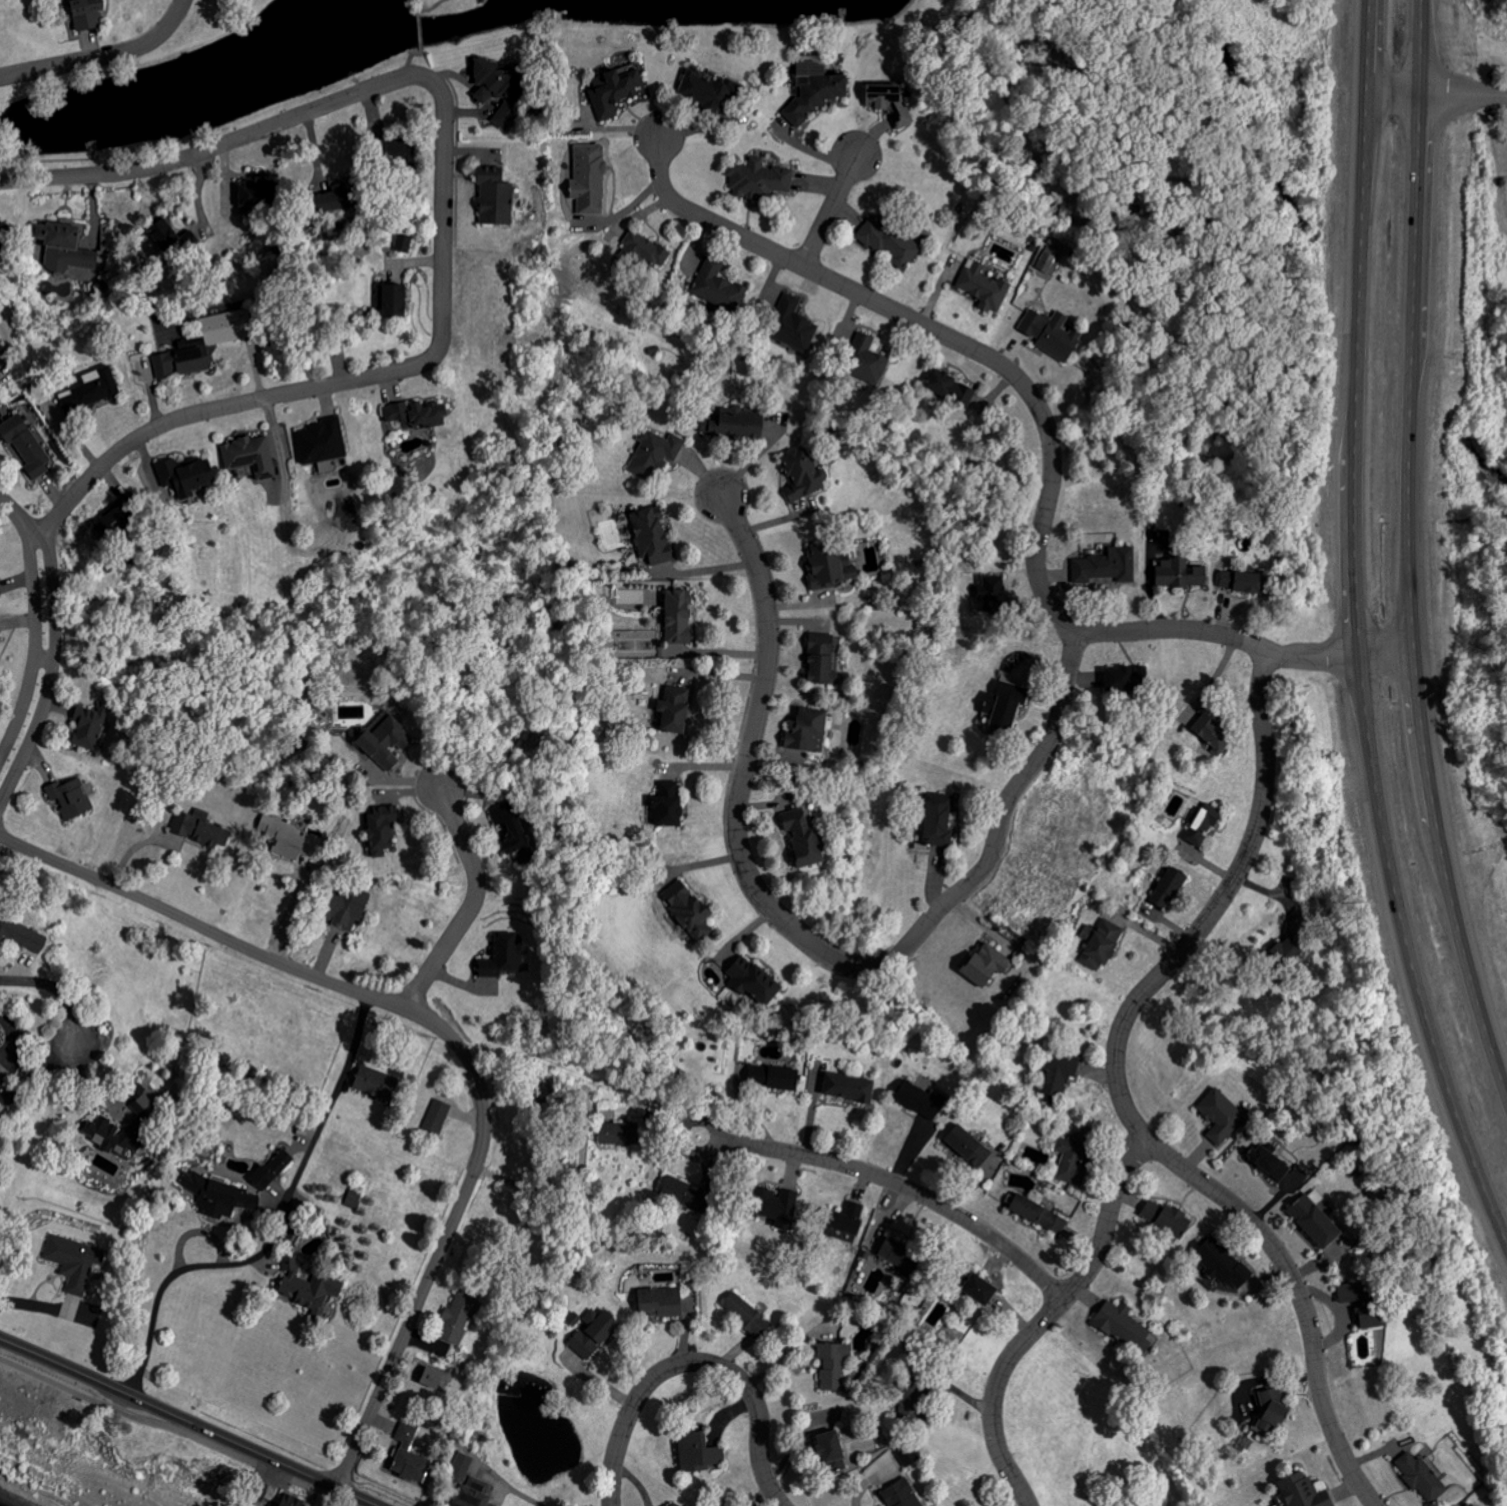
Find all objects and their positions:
building: (86, 13)
road: (415, 28)
road: (103, 57)
building: (810, 65)
building: (706, 89)
building: (495, 90)
building: (613, 90)
road: (1464, 94)
building: (814, 96)
building: (889, 102)
road: (206, 150)
building: (394, 150)
building: (588, 179)
building: (758, 179)
building: (492, 192)
road: (444, 202)
road: (831, 210)
building: (173, 238)
building: (402, 243)
building: (888, 243)
building: (65, 249)
building: (642, 252)
building: (1049, 264)
building: (718, 287)
building: (983, 287)
building: (390, 301)
building: (791, 324)
building: (1051, 334)
road: (943, 336)
building: (216, 341)
building: (1, 361)
building: (865, 361)
building: (949, 389)
building: (92, 390)
road: (216, 408)
building: (418, 414)
building: (730, 425)
building: (320, 442)
building: (22, 443)
building: (654, 453)
building: (250, 455)
building: (186, 476)
building: (801, 476)
building: (648, 537)
road: (1407, 554)
building: (1106, 567)
building: (829, 568)
building: (1177, 573)
building: (1238, 582)
building: (0, 595)
building: (990, 595)
building: (676, 617)
road: (1176, 630)
road: (1357, 633)
road: (46, 634)
building: (0, 639)
road: (1303, 658)
building: (819, 661)
building: (1126, 680)
building: (1005, 706)
building: (674, 707)
building: (89, 726)
building: (805, 732)
building: (1211, 734)
building: (384, 743)
building: (70, 798)
building: (666, 803)
building: (937, 821)
building: (1201, 825)
building: (380, 829)
building: (198, 830)
building: (509, 834)
building: (288, 841)
building: (801, 842)
building: (1167, 889)
road: (474, 900)
building: (344, 907)
building: (687, 911)
road: (296, 913)
building: (22, 936)
road: (800, 937)
building: (1294, 942)
building: (1100, 944)
building: (504, 955)
building: (986, 964)
building: (751, 980)
road: (55, 991)
road: (449, 1034)
road: (12, 1036)
building: (1056, 1076)
building: (780, 1077)
building: (374, 1082)
building: (847, 1087)
building: (2, 1090)
road: (1120, 1092)
building: (918, 1098)
building: (616, 1113)
building: (1220, 1115)
building: (437, 1116)
building: (618, 1133)
building: (113, 1134)
building: (966, 1145)
building: (1070, 1160)
building: (1266, 1162)
building: (271, 1170)
road: (893, 1183)
building: (681, 1191)
building: (217, 1194)
road: (567, 1196)
building: (355, 1199)
building: (773, 1204)
building: (1037, 1213)
building: (844, 1218)
building: (1312, 1218)
building: (1171, 1221)
road: (281, 1232)
building: (897, 1254)
building: (74, 1261)
building: (1220, 1263)
building: (958, 1276)
building: (308, 1286)
building: (976, 1289)
road: (1301, 1300)
building: (659, 1301)
building: (1361, 1304)
building: (747, 1315)
building: (456, 1318)
building: (1122, 1325)
building: (591, 1332)
road: (696, 1361)
building: (832, 1364)
building: (907, 1407)
building: (1269, 1411)
road: (189, 1422)
road: (175, 1429)
building: (406, 1433)
building: (697, 1452)
building: (827, 1453)
building: (904, 1455)
building: (408, 1465)
building: (1422, 1476)
building: (468, 1485)
building: (256, 1491)
building: (1301, 1491)
building: (896, 1494)
building: (290, 1500)

